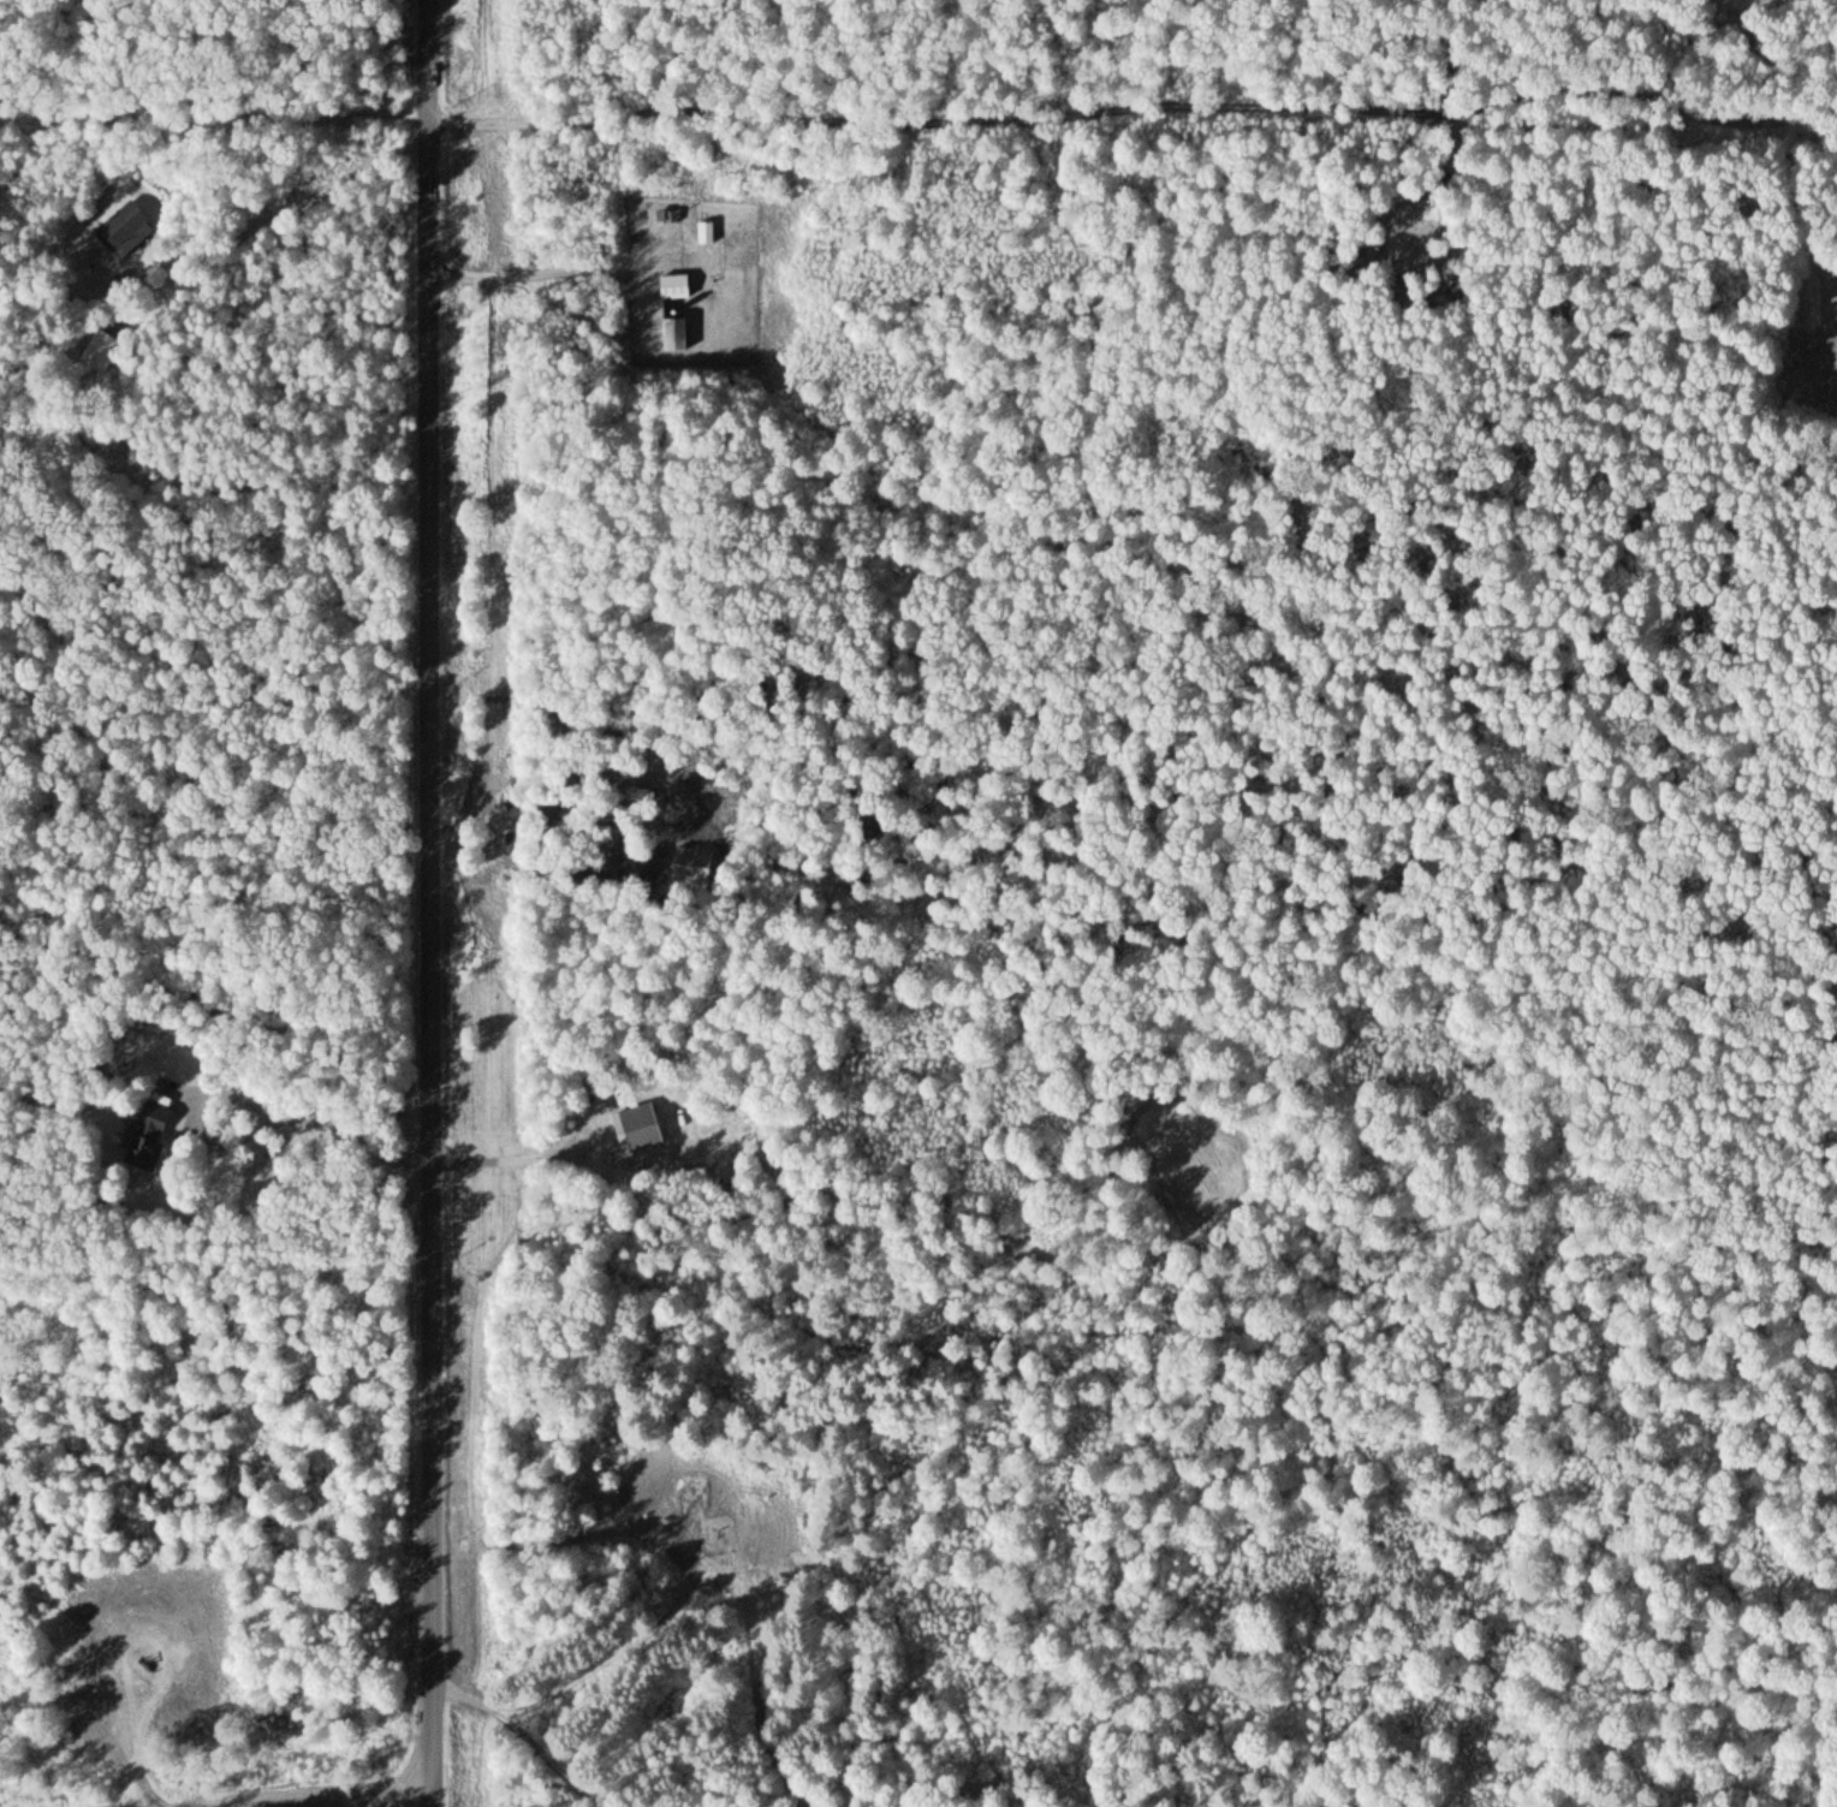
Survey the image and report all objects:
road: (1132, 111)
road: (214, 114)
road: (280, 208)
building: (124, 227)
building: (705, 230)
building: (672, 285)
building: (672, 329)
building: (100, 349)
road: (432, 903)
building: (635, 1127)
building: (143, 1128)
petroleum well: (154, 1653)
road: (540, 1730)
road: (381, 1806)

